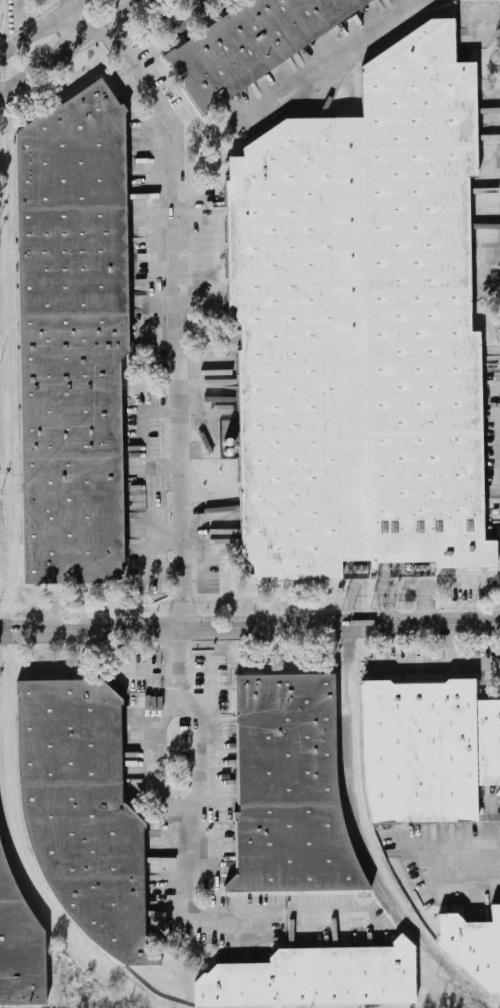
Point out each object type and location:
road: (187, 2)
road: (65, 6)
road: (76, 26)
road: (43, 29)
building: (251, 44)
road: (72, 48)
road: (333, 63)
road: (133, 77)
building: (361, 326)
building: (75, 338)
road: (174, 419)
road: (445, 583)
road: (250, 625)
road: (448, 642)
road: (439, 663)
parking lot: (140, 677)
railway: (347, 677)
parking lot: (222, 735)
building: (430, 750)
building: (292, 788)
building: (83, 812)
road: (174, 813)
railway: (374, 841)
railway: (360, 851)
parking lot: (214, 856)
road: (465, 857)
road: (222, 917)
building: (473, 945)
building: (19, 948)
building: (315, 978)

